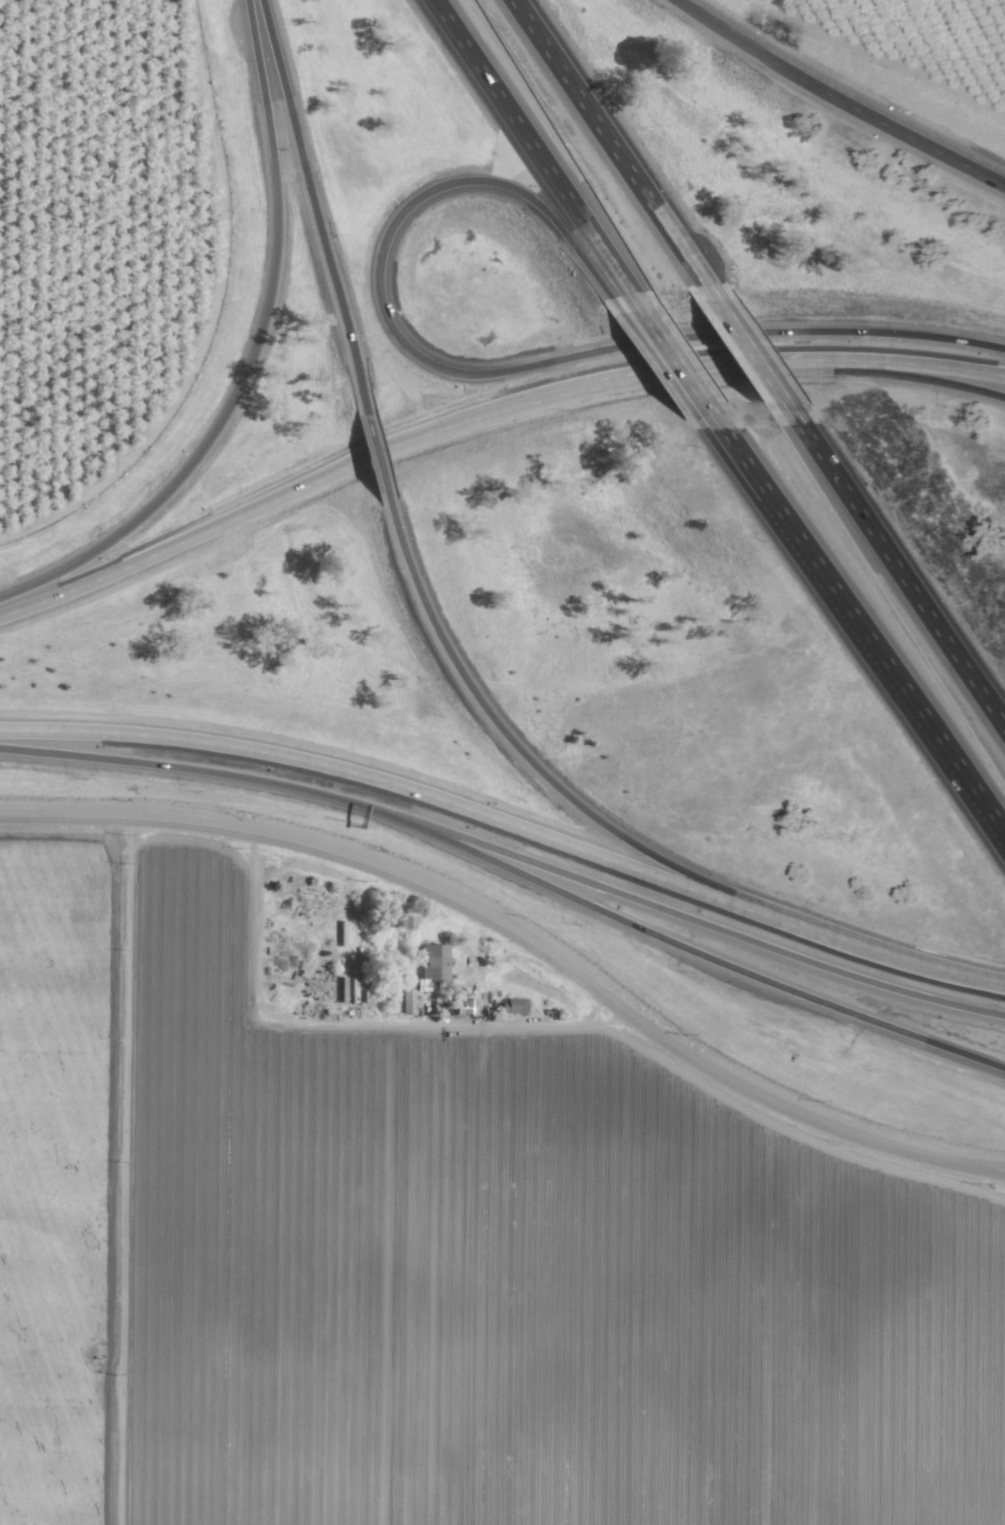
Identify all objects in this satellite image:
road: (726, 33)
road: (890, 129)
road: (609, 140)
road: (530, 155)
road: (310, 199)
road: (752, 346)
road: (249, 353)
road: (672, 362)
road: (895, 362)
road: (658, 364)
road: (483, 373)
road: (896, 376)
road: (718, 434)
road: (711, 435)
road: (380, 446)
road: (377, 453)
road: (902, 563)
road: (867, 654)
road: (206, 771)
road: (545, 777)
road: (416, 791)
road: (705, 924)
road: (522, 941)
road: (702, 957)
road: (909, 960)
building: (429, 963)
building: (406, 1000)
building: (511, 1004)
road: (323, 1025)

